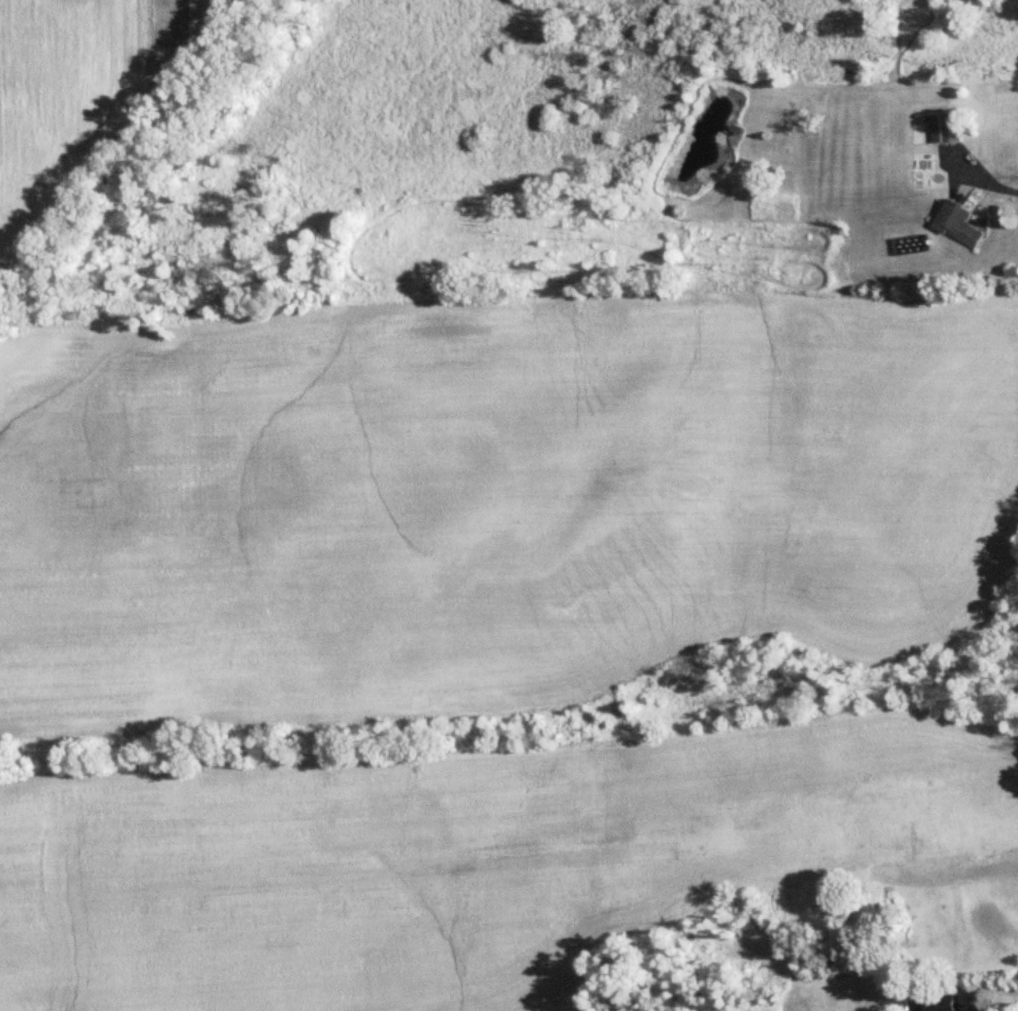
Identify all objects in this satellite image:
building: (946, 128)
road: (985, 178)
building: (957, 226)
building: (939, 1004)

